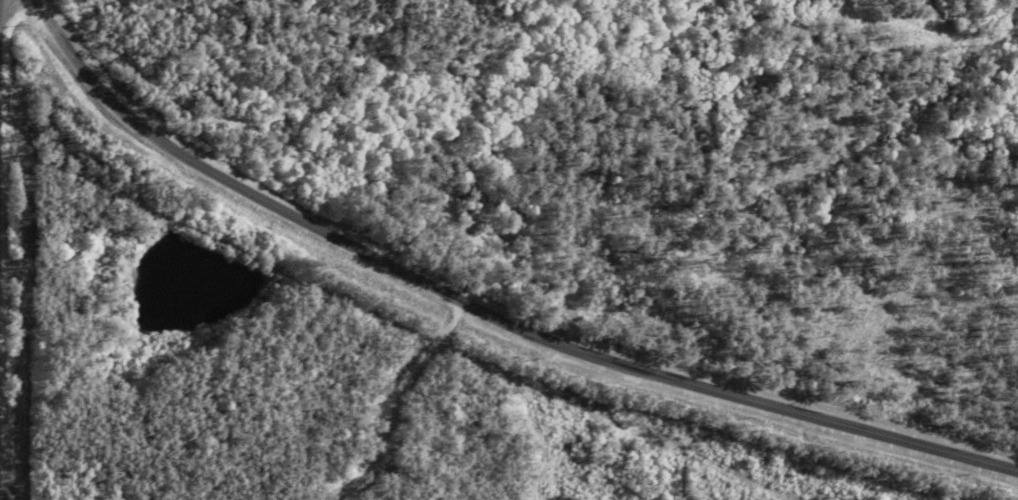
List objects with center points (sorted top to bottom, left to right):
road: (483, 314)

